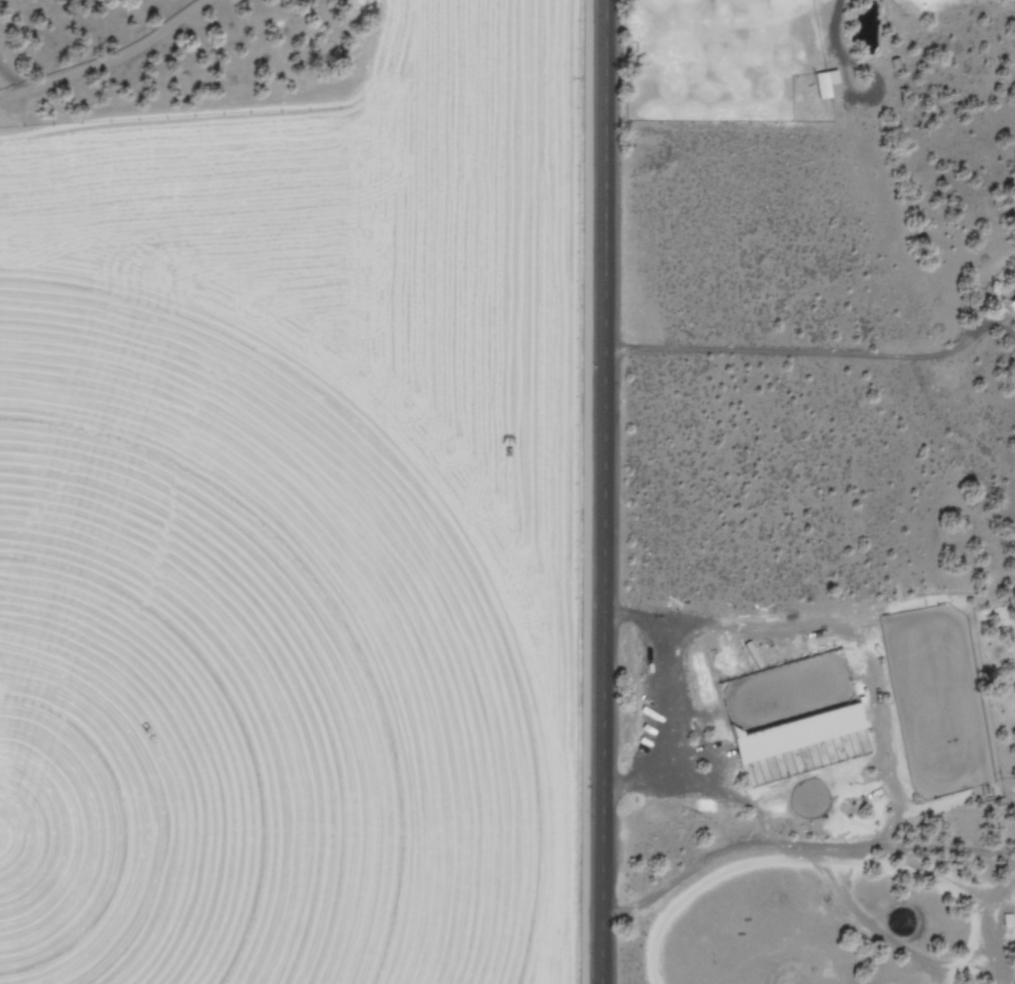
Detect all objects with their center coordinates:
building: (824, 83)
building: (1010, 307)
road: (605, 492)
crop: (299, 520)
building: (795, 732)

